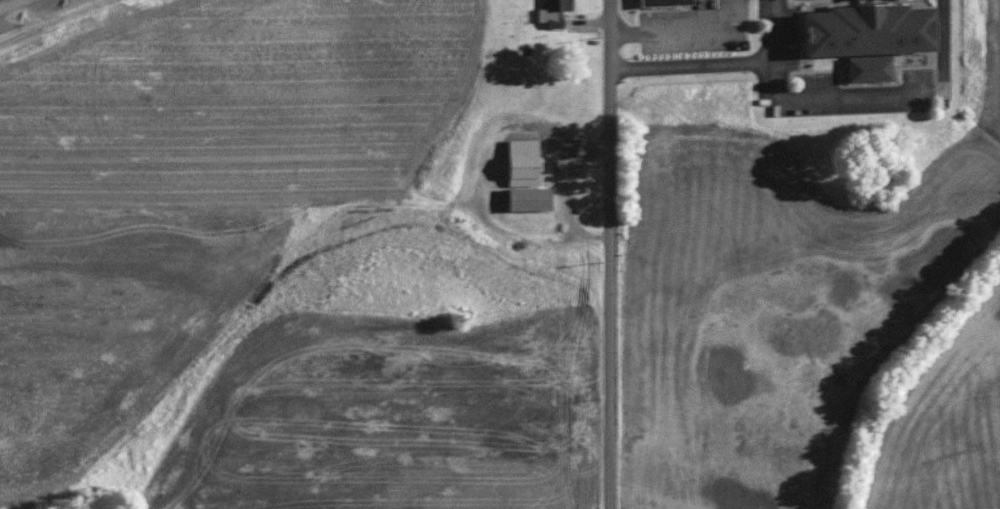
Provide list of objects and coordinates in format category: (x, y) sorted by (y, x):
building: (658, 2)
road: (12, 5)
building: (549, 11)
road: (680, 30)
building: (879, 32)
road: (953, 38)
road: (725, 65)
road: (859, 99)
building: (519, 159)
building: (551, 163)
building: (526, 196)
road: (608, 254)

